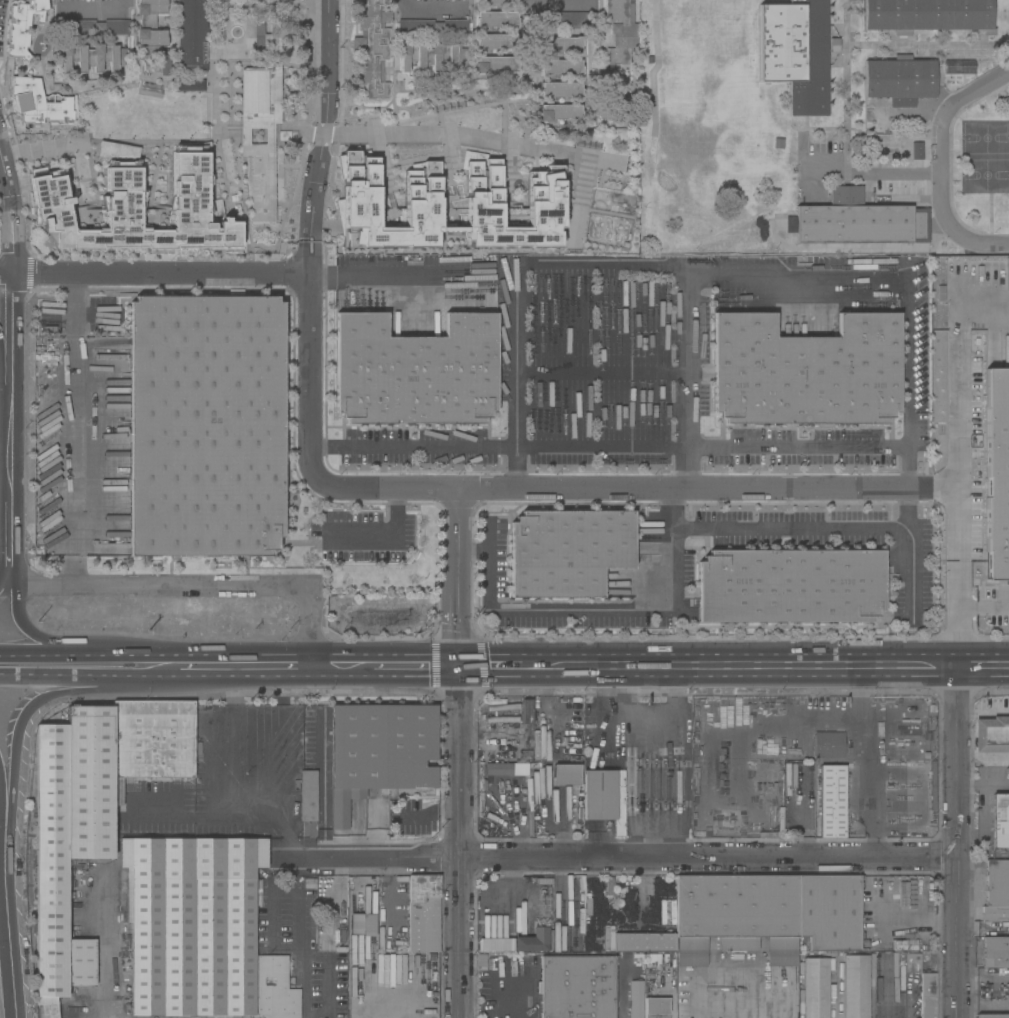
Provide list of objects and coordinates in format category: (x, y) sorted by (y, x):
building: (495, 2)
road: (430, 4)
road: (555, 4)
road: (96, 5)
building: (928, 15)
building: (496, 19)
building: (566, 19)
building: (150, 26)
building: (22, 27)
building: (94, 27)
building: (433, 27)
building: (619, 32)
building: (192, 36)
building: (495, 41)
building: (561, 44)
building: (372, 46)
building: (796, 52)
building: (92, 56)
building: (427, 56)
building: (495, 64)
building: (165, 65)
building: (560, 67)
building: (959, 67)
building: (899, 80)
building: (189, 85)
building: (560, 89)
building: (39, 103)
building: (559, 112)
building: (431, 113)
building: (262, 119)
road: (320, 137)
building: (54, 139)
road: (496, 140)
building: (916, 151)
road: (40, 152)
building: (431, 158)
road: (941, 163)
building: (496, 167)
road: (876, 174)
building: (432, 181)
building: (620, 186)
building: (496, 190)
building: (432, 206)
building: (134, 207)
road: (11, 211)
building: (496, 212)
building: (1002, 212)
building: (364, 215)
building: (857, 221)
building: (496, 235)
building: (432, 236)
road: (6, 271)
road: (352, 273)
road: (6, 275)
road: (899, 284)
road: (604, 299)
road: (604, 339)
building: (415, 371)
building: (805, 371)
road: (603, 375)
road: (309, 379)
road: (516, 380)
road: (691, 380)
road: (10, 388)
road: (5, 401)
road: (603, 412)
building: (205, 425)
road: (73, 427)
road: (607, 447)
road: (958, 461)
road: (390, 490)
road: (575, 490)
road: (797, 490)
road: (931, 490)
road: (803, 528)
road: (384, 537)
road: (8, 541)
building: (567, 552)
road: (460, 577)
road: (3, 581)
road: (196, 584)
building: (790, 586)
road: (983, 601)
road: (591, 606)
road: (39, 636)
road: (142, 653)
road: (53, 654)
road: (495, 665)
road: (241, 666)
road: (336, 666)
road: (412, 666)
traffic signals: (459, 666)
road: (744, 667)
road: (983, 667)
road: (88, 674)
road: (26, 708)
road: (983, 709)
building: (526, 717)
road: (609, 719)
building: (991, 735)
building: (151, 741)
building: (567, 745)
building: (828, 745)
building: (798, 751)
building: (379, 752)
road: (866, 760)
building: (498, 769)
building: (566, 774)
building: (480, 776)
road: (232, 781)
building: (308, 795)
road: (609, 795)
building: (604, 797)
building: (831, 801)
road: (801, 812)
road: (1, 813)
building: (1000, 821)
building: (306, 829)
road: (608, 837)
building: (69, 840)
road: (457, 841)
road: (958, 842)
road: (627, 854)
building: (759, 870)
road: (269, 882)
building: (997, 883)
building: (334, 910)
building: (666, 912)
building: (423, 913)
building: (995, 914)
building: (765, 915)
building: (192, 924)
building: (996, 924)
building: (363, 925)
road: (6, 929)
building: (586, 932)
building: (534, 940)
building: (607, 940)
building: (644, 942)
building: (494, 944)
building: (906, 945)
building: (995, 952)
building: (911, 963)
road: (298, 969)
road: (324, 969)
building: (855, 986)
building: (576, 987)
building: (274, 988)
building: (815, 988)
road: (518, 994)
building: (927, 995)
building: (635, 999)
road: (746, 1000)
building: (656, 1008)
building: (992, 1016)

